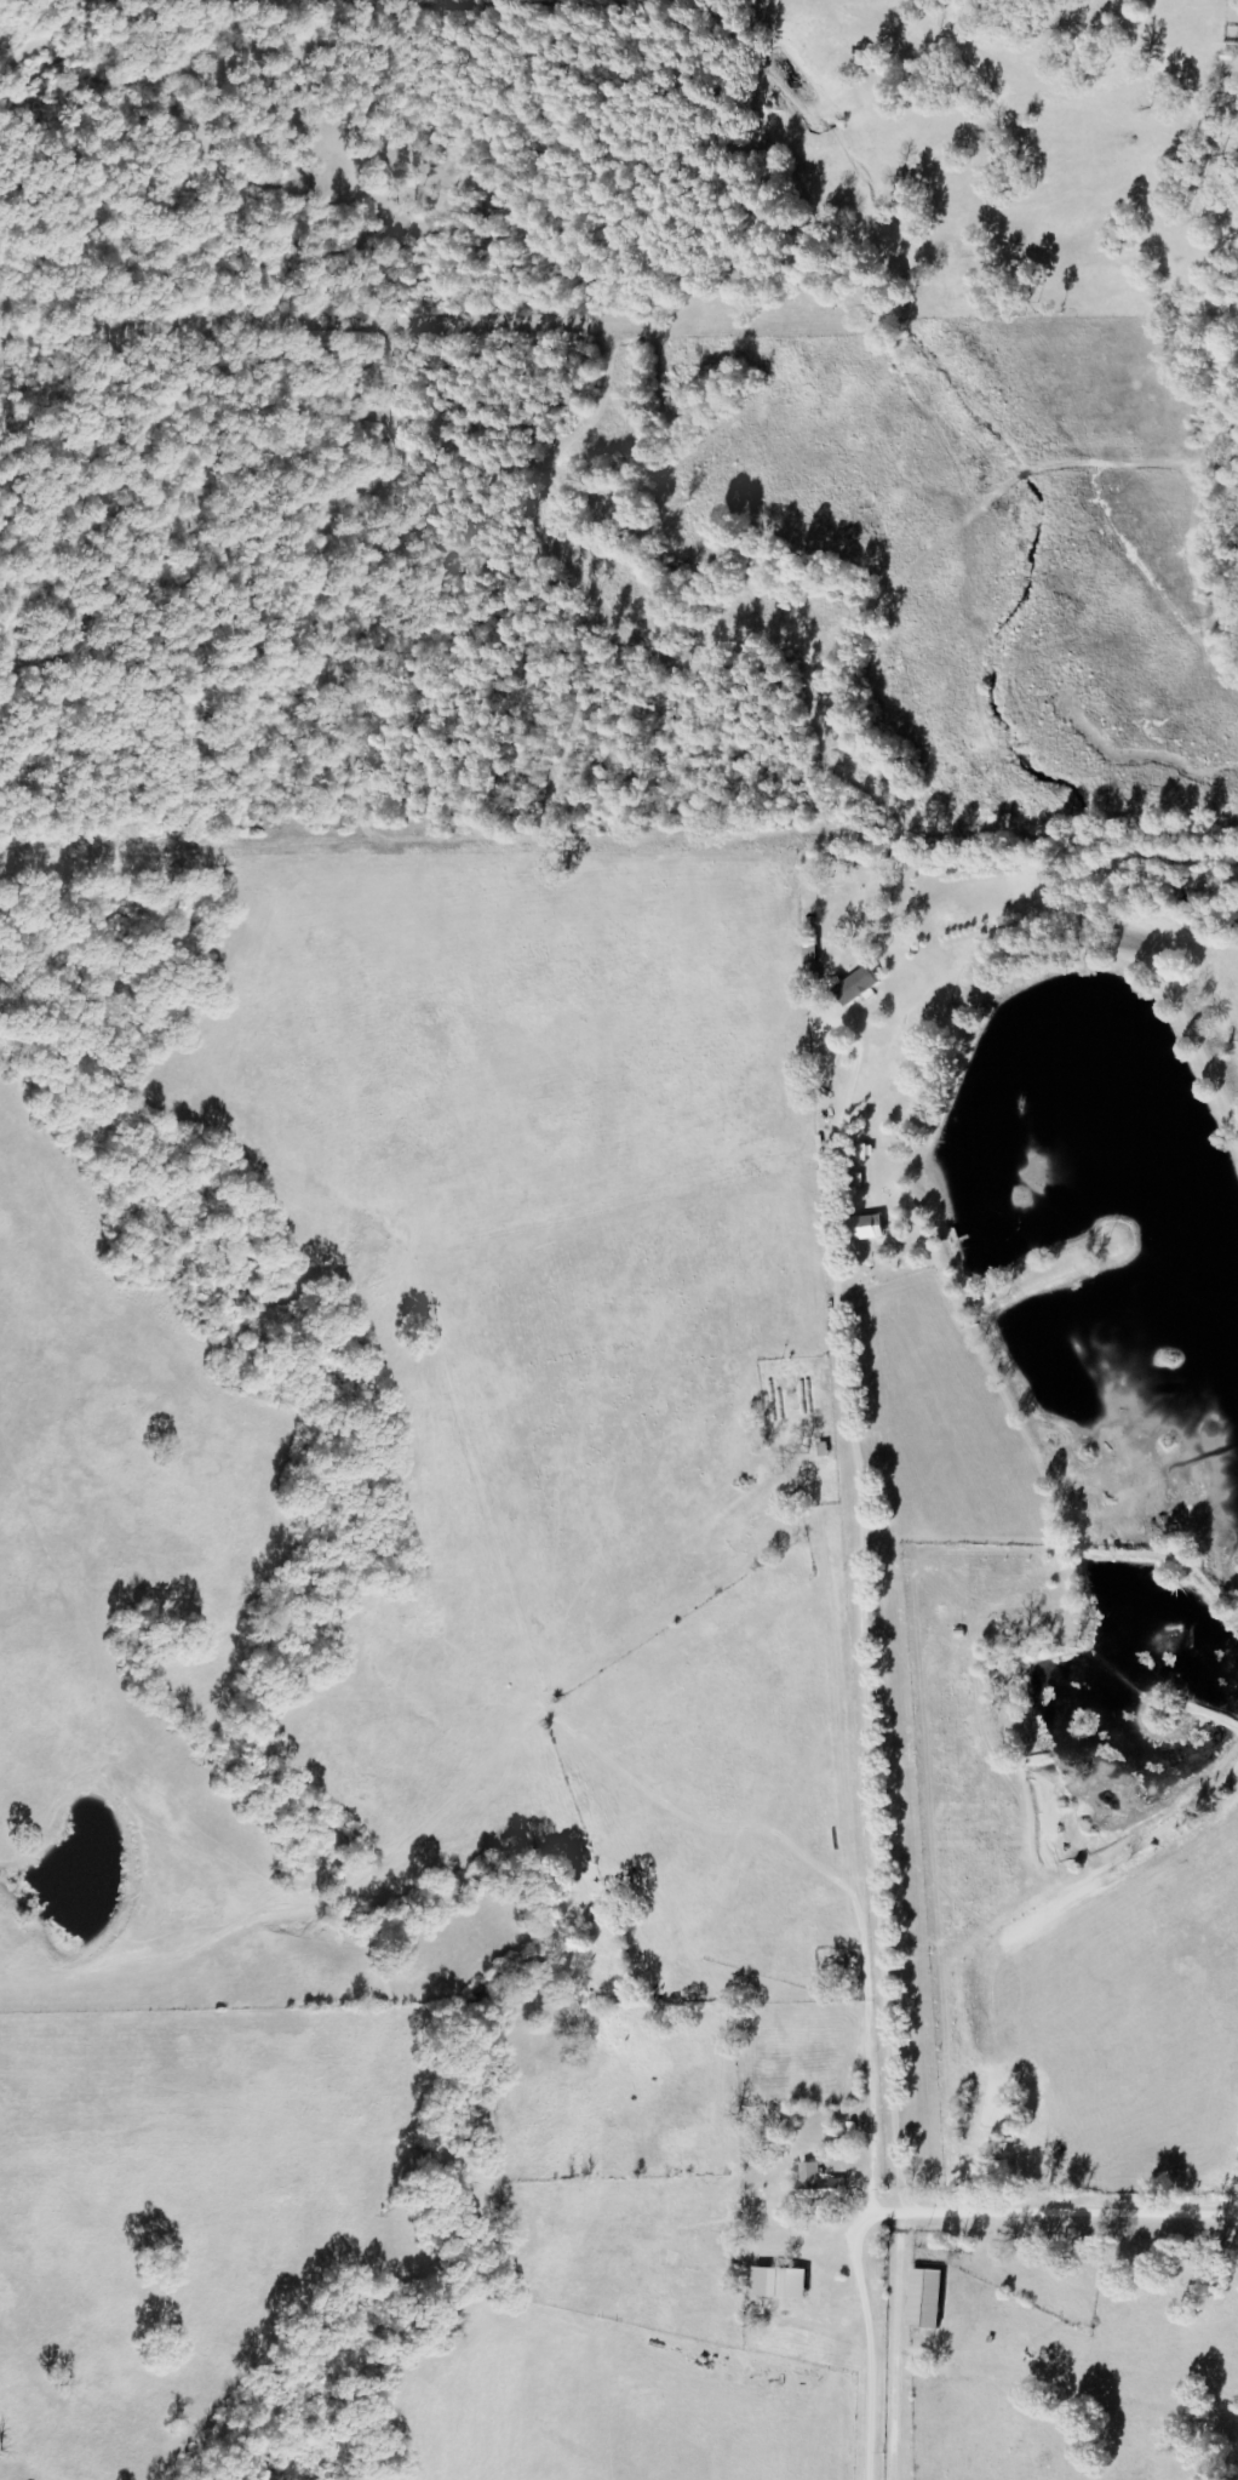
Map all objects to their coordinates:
building: (812, 952)
building: (835, 989)
building: (867, 1228)
building: (792, 1427)
building: (814, 2187)
road: (918, 2201)
building: (774, 2282)
building: (922, 2298)

